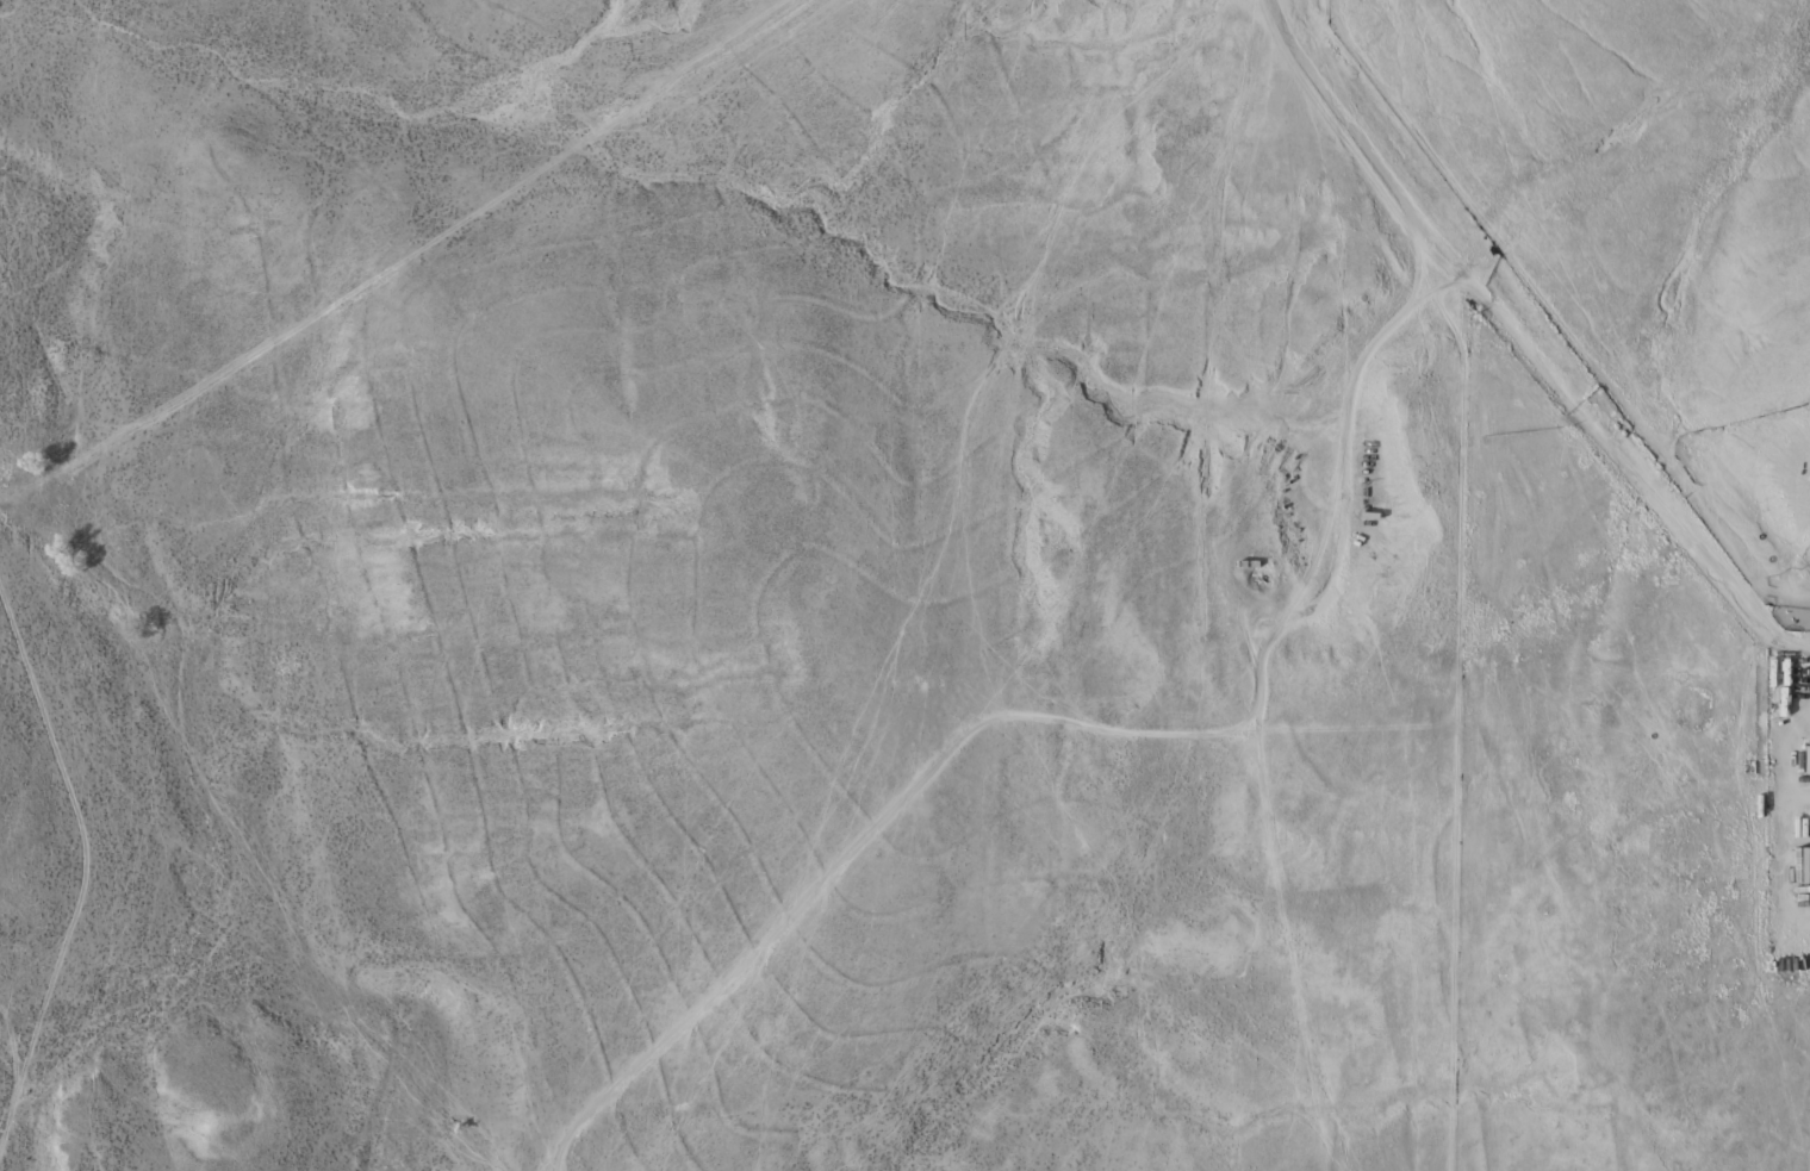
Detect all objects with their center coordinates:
building: (1786, 698)
building: (1803, 865)

